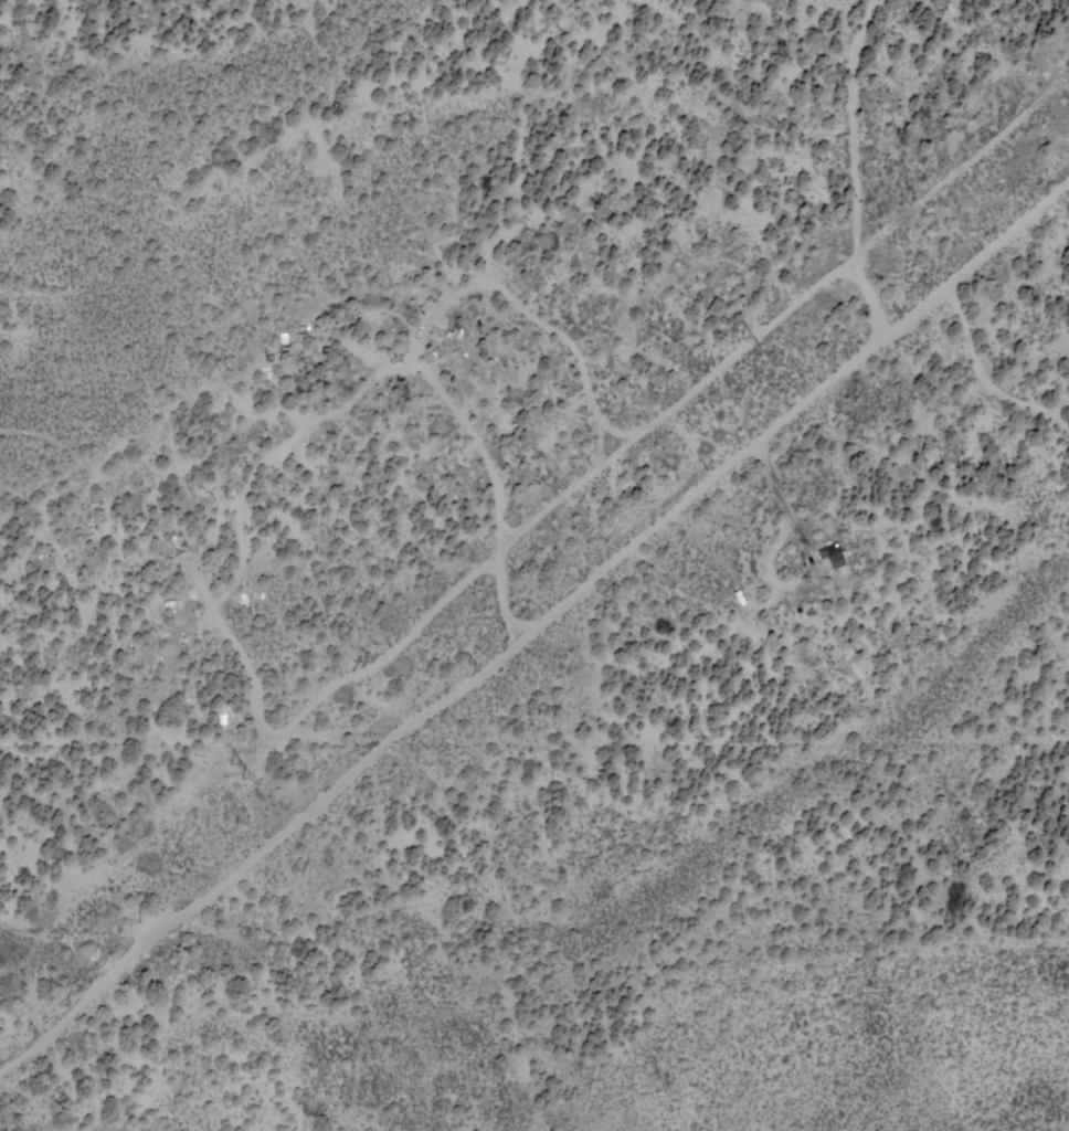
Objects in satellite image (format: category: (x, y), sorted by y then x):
power tower: (891, 313)
power tower: (742, 347)
road: (534, 552)
building: (830, 554)
power tower: (229, 771)
power tower: (32, 1033)

